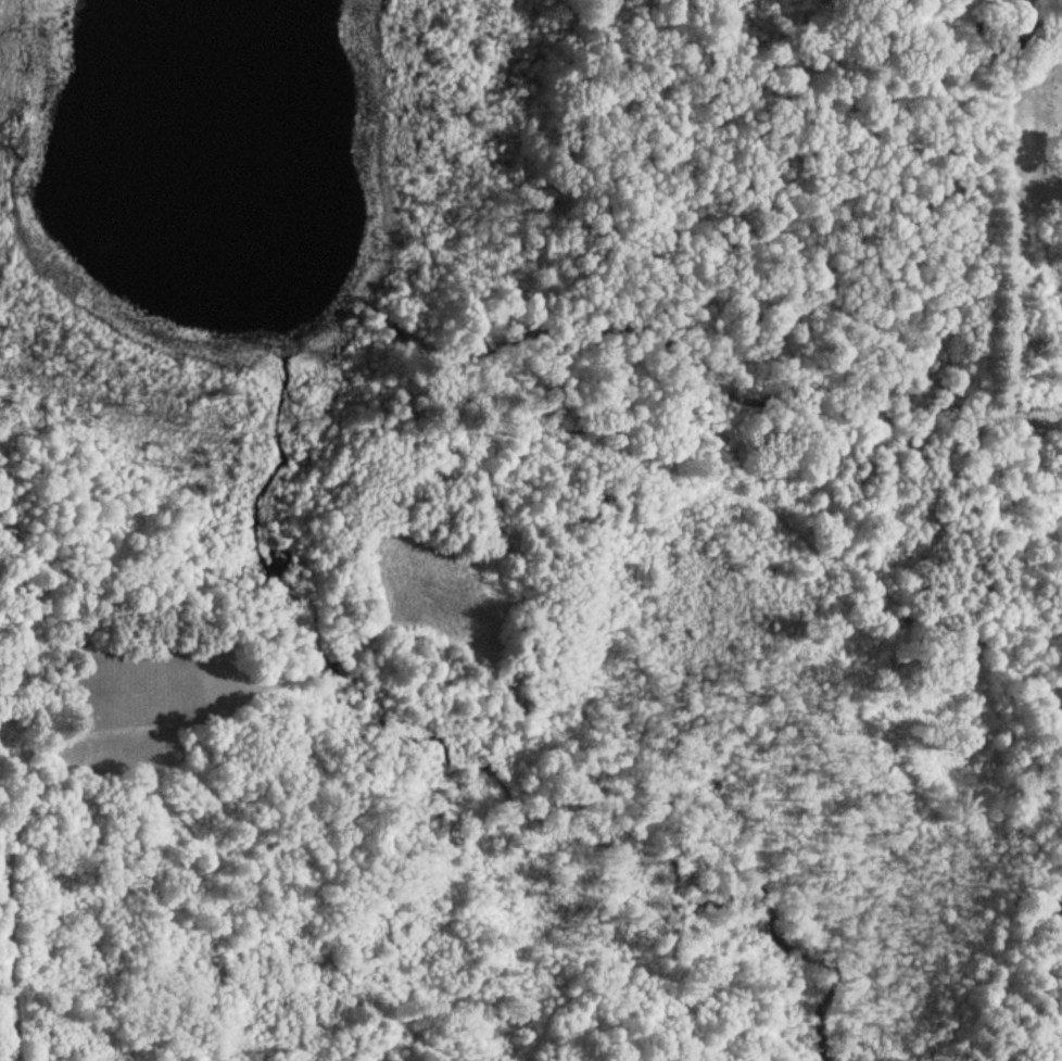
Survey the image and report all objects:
road: (1004, 958)

